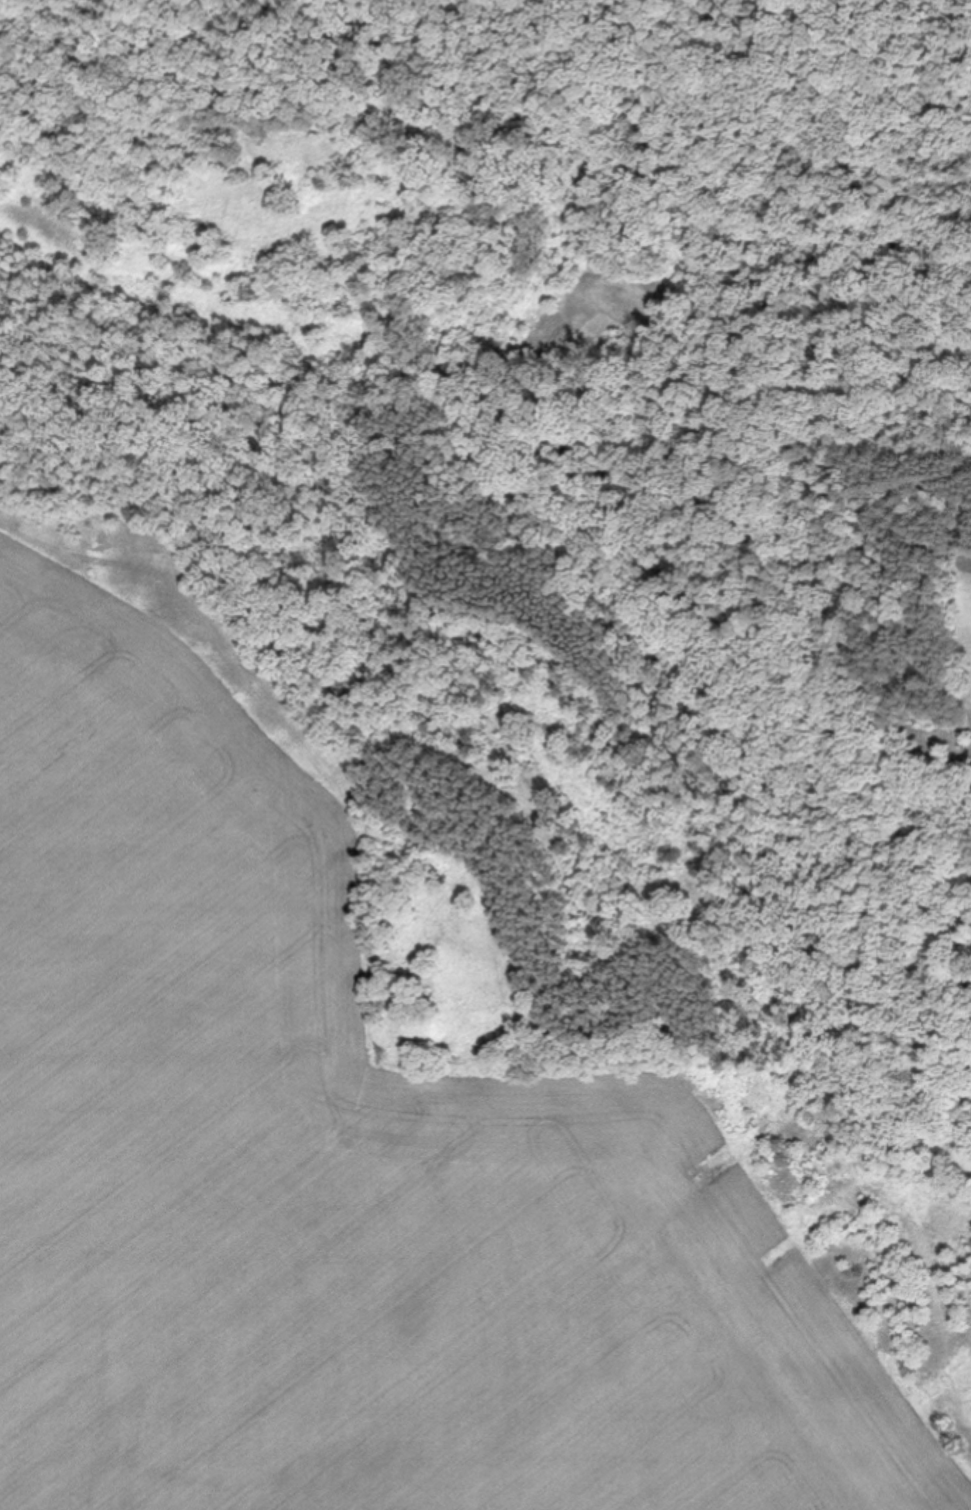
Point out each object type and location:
crop: (396, 1146)

